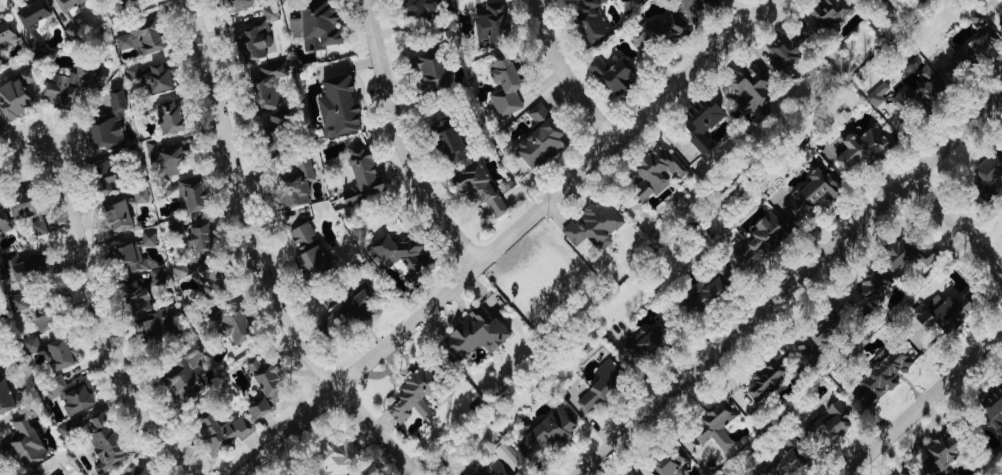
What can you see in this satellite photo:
building: (853, 0)
building: (72, 4)
building: (243, 5)
building: (704, 6)
building: (425, 8)
building: (833, 13)
building: (36, 15)
building: (594, 19)
building: (320, 27)
building: (496, 28)
building: (260, 36)
building: (7, 38)
building: (143, 40)
building: (790, 52)
building: (972, 59)
building: (435, 70)
road: (571, 73)
building: (616, 75)
building: (154, 78)
building: (271, 85)
building: (75, 86)
building: (509, 88)
building: (755, 89)
building: (923, 91)
building: (20, 95)
building: (879, 96)
building: (342, 108)
building: (173, 117)
building: (845, 118)
building: (113, 123)
building: (706, 124)
building: (0, 134)
road: (407, 138)
building: (452, 139)
building: (544, 140)
building: (868, 147)
building: (170, 158)
building: (659, 173)
building: (990, 176)
building: (111, 177)
building: (367, 183)
building: (299, 185)
building: (482, 190)
building: (195, 195)
building: (813, 195)
building: (143, 197)
building: (32, 212)
building: (120, 216)
building: (5, 221)
building: (597, 226)
road: (957, 227)
building: (204, 237)
road: (505, 237)
building: (762, 242)
building: (0, 252)
building: (405, 253)
building: (913, 253)
building: (314, 254)
road: (268, 257)
building: (143, 260)
building: (183, 272)
building: (32, 273)
building: (212, 279)
road: (794, 287)
building: (713, 292)
road: (102, 295)
building: (869, 297)
building: (352, 312)
building: (946, 313)
building: (37, 314)
building: (151, 315)
building: (0, 325)
building: (239, 327)
building: (479, 335)
building: (833, 338)
building: (651, 345)
building: (35, 346)
building: (63, 355)
building: (885, 375)
building: (190, 377)
building: (770, 380)
building: (270, 381)
building: (606, 386)
building: (6, 394)
building: (72, 394)
building: (417, 396)
road: (924, 403)
building: (262, 409)
building: (995, 413)
building: (834, 424)
building: (240, 425)
building: (717, 427)
building: (217, 432)
building: (550, 435)
building: (27, 443)
building: (108, 443)
building: (945, 453)
building: (341, 460)
building: (788, 461)
building: (500, 463)
building: (678, 466)
building: (140, 472)

